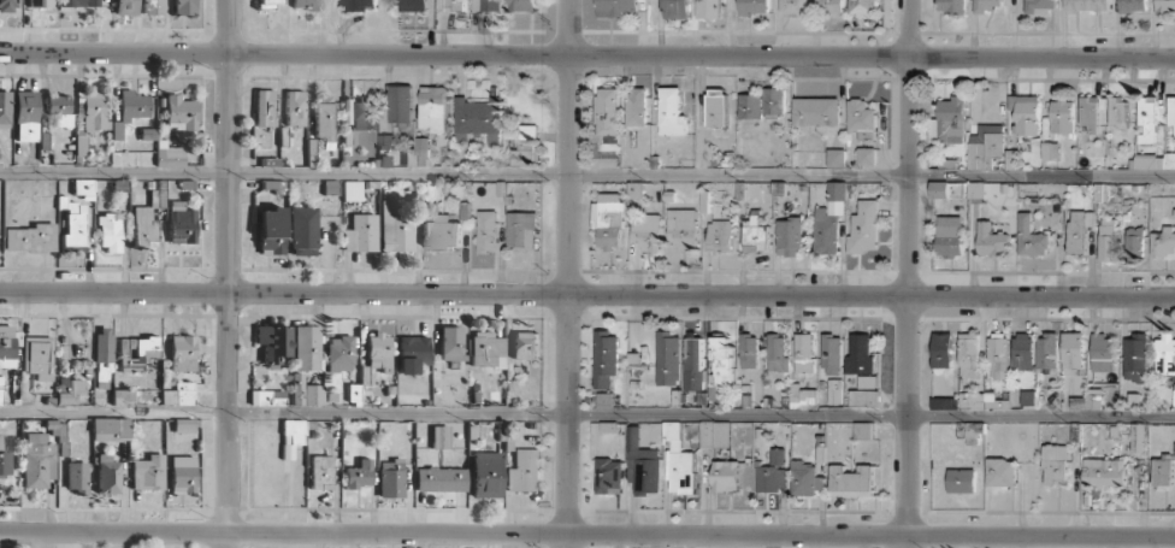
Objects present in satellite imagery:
building: (79, 2)
building: (39, 4)
building: (267, 4)
building: (303, 4)
building: (7, 5)
building: (360, 5)
building: (413, 5)
building: (450, 5)
building: (486, 5)
building: (521, 5)
building: (951, 5)
building: (985, 5)
building: (1087, 5)
building: (1165, 5)
building: (184, 6)
building: (752, 6)
building: (1040, 6)
building: (1133, 6)
building: (125, 7)
building: (153, 7)
building: (616, 7)
building: (829, 7)
building: (862, 7)
building: (677, 8)
building: (709, 8)
road: (586, 54)
building: (774, 101)
building: (401, 102)
building: (134, 105)
building: (750, 106)
building: (265, 107)
building: (637, 107)
building: (716, 107)
building: (4, 108)
building: (295, 108)
building: (433, 108)
building: (608, 110)
building: (816, 111)
building: (1117, 111)
building: (1171, 111)
building: (181, 112)
building: (672, 112)
building: (361, 113)
building: (1025, 113)
building: (1090, 113)
building: (25, 116)
building: (1062, 116)
building: (479, 118)
building: (1147, 118)
building: (90, 119)
building: (861, 119)
building: (949, 122)
building: (324, 123)
building: (385, 141)
building: (524, 146)
building: (985, 146)
building: (418, 153)
building: (866, 155)
building: (836, 158)
building: (1169, 159)
building: (1147, 161)
road: (587, 175)
building: (83, 187)
building: (938, 189)
building: (352, 190)
building: (975, 191)
building: (608, 219)
building: (829, 219)
building: (143, 225)
building: (73, 226)
building: (182, 226)
building: (863, 226)
building: (521, 229)
building: (683, 229)
building: (110, 231)
building: (271, 231)
building: (396, 231)
building: (486, 231)
building: (646, 231)
building: (1080, 231)
building: (361, 232)
building: (442, 232)
building: (755, 235)
building: (949, 235)
building: (720, 236)
building: (789, 236)
building: (1031, 237)
building: (31, 238)
building: (991, 240)
building: (1106, 240)
building: (1163, 241)
building: (1133, 243)
road: (229, 273)
road: (568, 273)
road: (907, 273)
road: (586, 294)
building: (273, 342)
building: (450, 342)
building: (6, 346)
building: (525, 346)
building: (306, 348)
building: (486, 349)
building: (941, 349)
building: (1046, 349)
building: (1073, 349)
building: (749, 350)
building: (1022, 350)
building: (379, 352)
building: (777, 352)
building: (136, 353)
building: (182, 353)
building: (412, 353)
building: (803, 353)
building: (1102, 353)
building: (36, 354)
building: (339, 354)
building: (832, 354)
building: (860, 354)
building: (968, 354)
building: (1165, 354)
building: (1134, 355)
building: (997, 357)
building: (606, 359)
building: (668, 359)
building: (721, 363)
building: (693, 364)
building: (867, 382)
building: (69, 390)
building: (306, 391)
building: (179, 394)
building: (122, 396)
building: (267, 397)
building: (863, 397)
building: (1027, 397)
building: (604, 400)
building: (1087, 400)
building: (982, 401)
road: (586, 417)
building: (110, 425)
building: (184, 425)
building: (863, 430)
building: (714, 434)
building: (291, 436)
building: (439, 437)
building: (1138, 437)
building: (1174, 455)
building: (5, 459)
building: (37, 460)
building: (679, 460)
building: (1055, 462)
building: (643, 464)
building: (522, 471)
building: (1162, 471)
building: (147, 472)
building: (320, 472)
building: (1000, 472)
building: (1104, 472)
building: (182, 473)
building: (485, 473)
building: (772, 473)
building: (107, 475)
building: (359, 475)
building: (609, 476)
building: (725, 476)
building: (77, 477)
building: (390, 478)
building: (805, 478)
building: (441, 479)
building: (851, 481)
building: (961, 481)
road: (587, 534)

